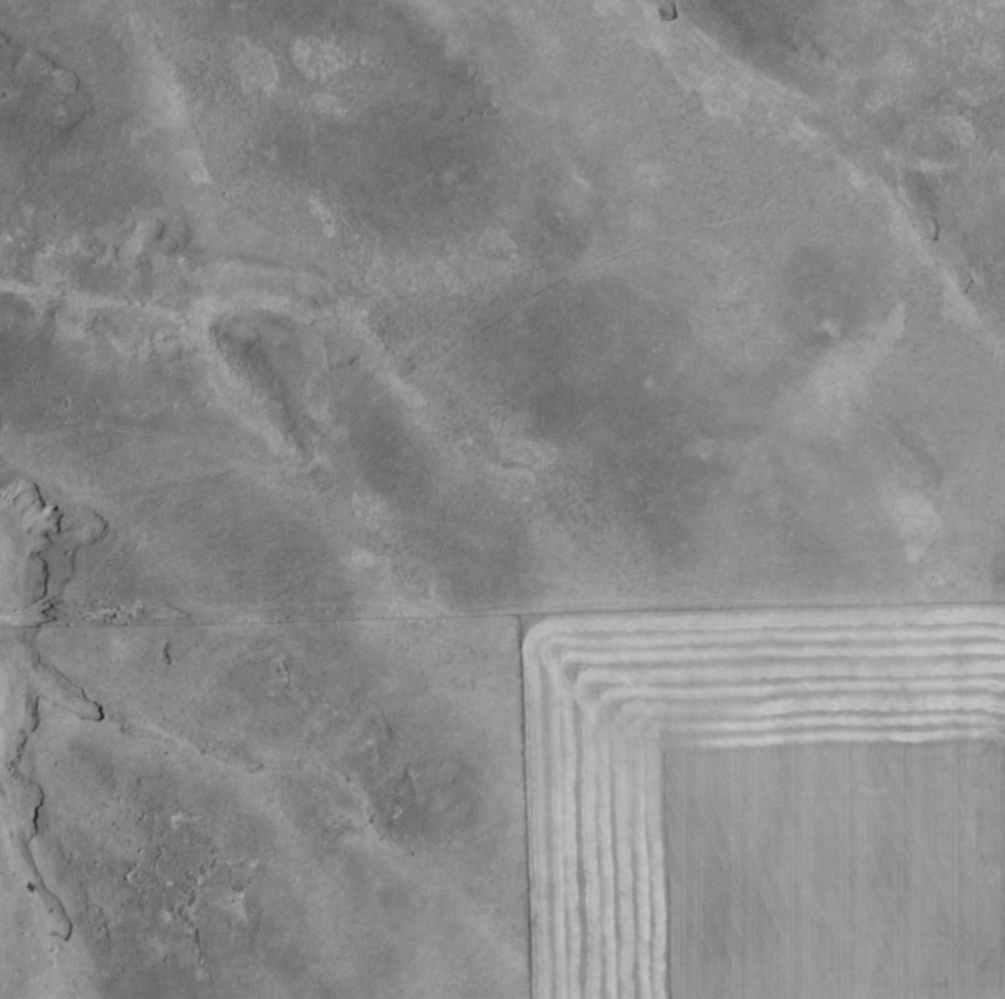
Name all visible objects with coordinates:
crop: (763, 801)

